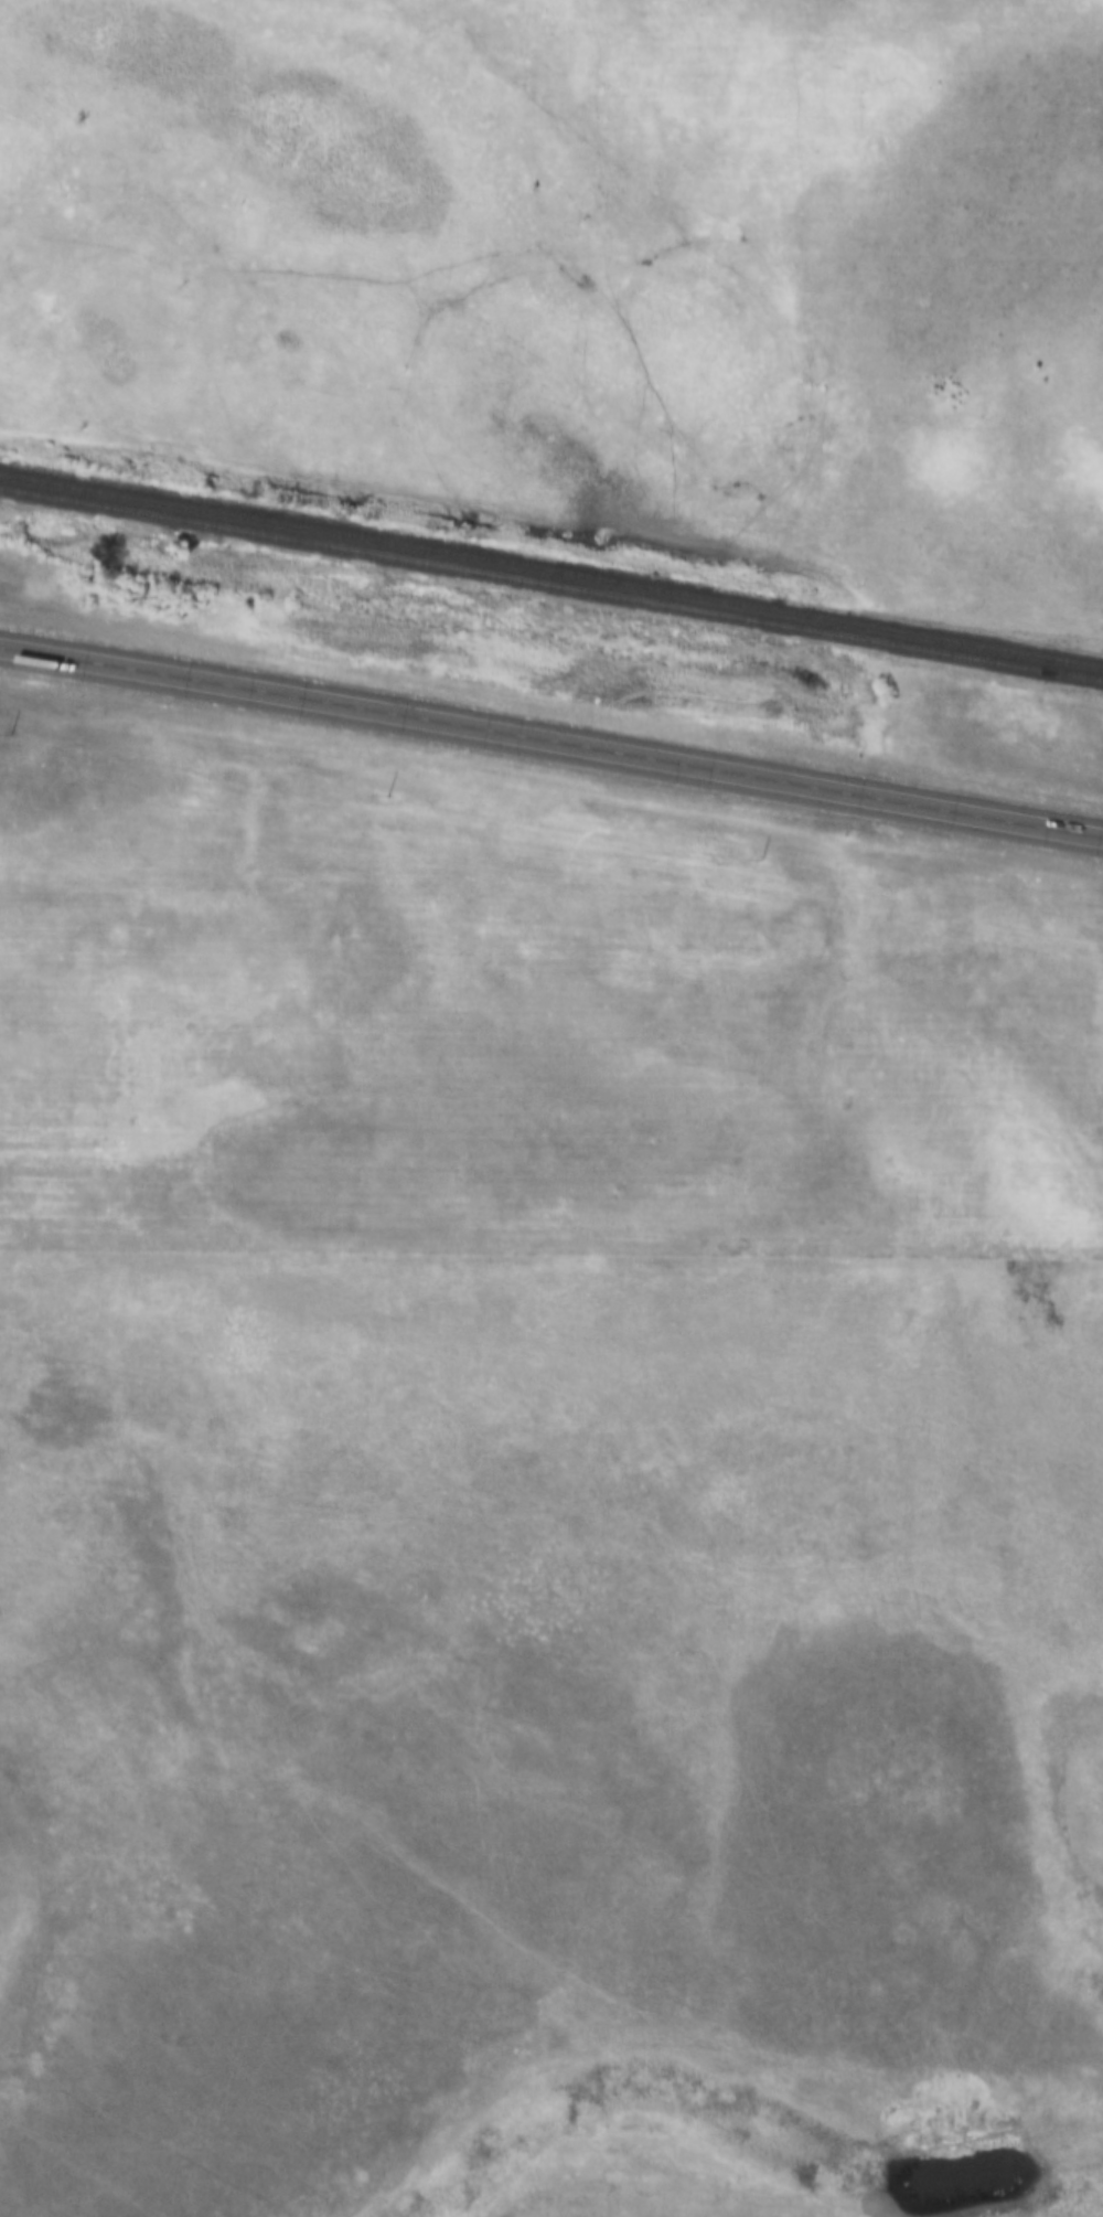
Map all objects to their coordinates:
railway: (551, 572)
railway: (551, 585)
road: (551, 742)

